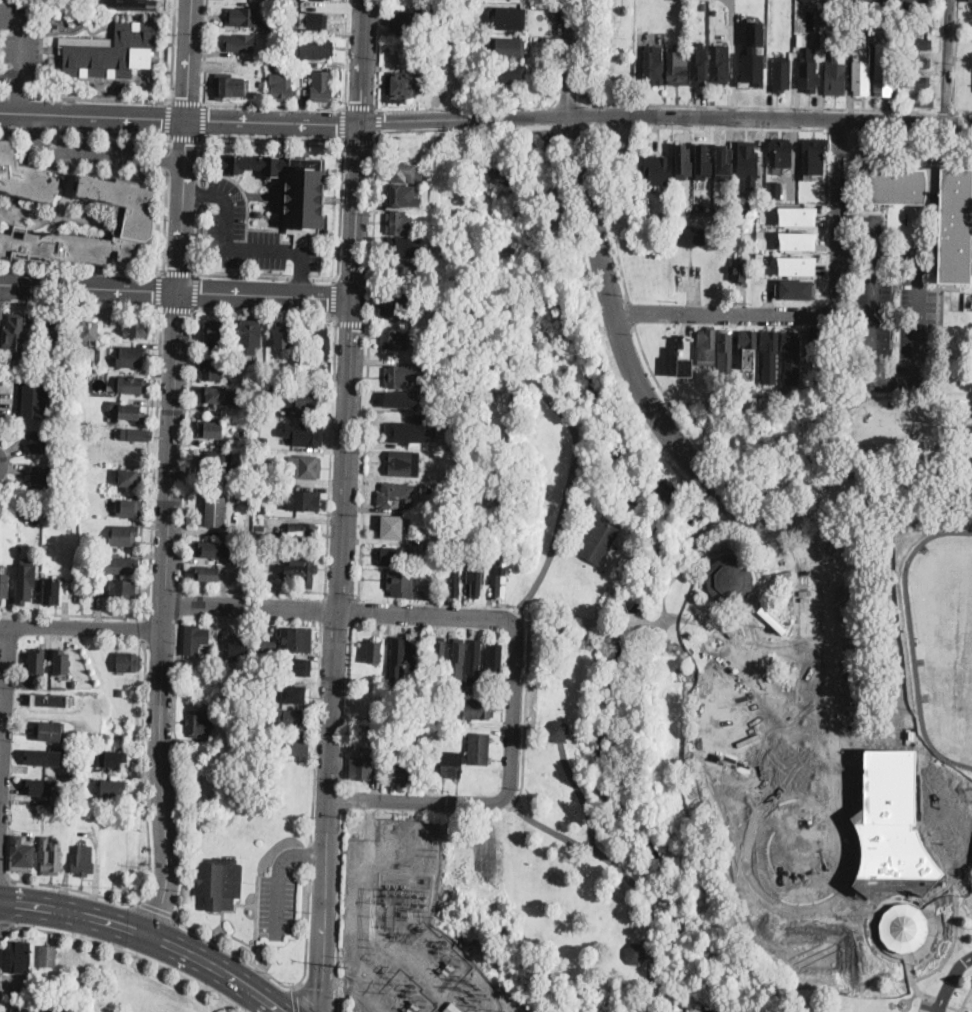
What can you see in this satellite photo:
building: (969, 0)
building: (807, 1)
parking lot: (892, 2)
building: (148, 4)
building: (704, 6)
building: (714, 11)
building: (51, 14)
building: (243, 15)
building: (511, 18)
building: (839, 18)
building: (315, 19)
building: (404, 21)
building: (876, 21)
building: (55, 26)
building: (917, 26)
road: (22, 34)
building: (239, 41)
parking lot: (18, 42)
building: (917, 44)
road: (588, 47)
building: (511, 48)
road: (554, 48)
building: (316, 49)
park: (608, 49)
building: (111, 50)
road: (172, 51)
road: (347, 53)
road: (378, 53)
building: (752, 56)
road: (940, 56)
road: (955, 56)
road: (566, 58)
road: (191, 60)
building: (286, 61)
road: (364, 61)
building: (916, 62)
road: (950, 62)
building: (654, 65)
building: (721, 65)
building: (699, 66)
building: (677, 67)
building: (861, 69)
building: (883, 71)
road: (10, 72)
building: (509, 73)
building: (782, 75)
building: (808, 75)
building: (835, 76)
road: (20, 79)
building: (915, 82)
building: (281, 85)
building: (322, 85)
building: (229, 86)
building: (402, 86)
road: (4, 95)
road: (585, 95)
road: (19, 96)
road: (567, 97)
road: (18, 99)
road: (100, 99)
road: (592, 101)
building: (924, 101)
road: (185, 102)
road: (221, 103)
road: (537, 104)
road: (447, 106)
road: (362, 107)
road: (762, 107)
road: (515, 111)
road: (944, 113)
road: (963, 114)
road: (94, 117)
road: (542, 117)
road: (593, 117)
road: (169, 118)
road: (202, 119)
road: (379, 119)
road: (438, 119)
road: (770, 120)
road: (275, 121)
road: (344, 122)
road: (516, 122)
road: (536, 126)
road: (574, 126)
road: (711, 127)
road: (451, 128)
road: (841, 130)
road: (83, 131)
road: (912, 131)
road: (185, 134)
road: (273, 137)
road: (360, 139)
road: (168, 142)
road: (595, 147)
parking lot: (97, 151)
building: (781, 153)
road: (95, 154)
building: (814, 156)
road: (167, 159)
road: (201, 159)
building: (683, 161)
building: (723, 161)
building: (702, 162)
building: (747, 162)
road: (555, 170)
road: (582, 170)
building: (656, 170)
building: (403, 172)
road: (546, 174)
building: (24, 178)
building: (290, 187)
road: (853, 191)
road: (198, 192)
road: (199, 193)
building: (776, 193)
building: (403, 196)
building: (676, 200)
road: (185, 205)
building: (699, 206)
building: (762, 206)
road: (358, 209)
building: (668, 209)
building: (748, 210)
building: (258, 213)
building: (797, 215)
building: (137, 216)
park: (637, 218)
road: (839, 218)
road: (339, 221)
building: (399, 223)
building: (761, 233)
parking lot: (251, 235)
road: (614, 235)
building: (691, 236)
road: (198, 238)
building: (797, 240)
building: (403, 246)
building: (955, 246)
road: (239, 249)
road: (887, 250)
road: (542, 255)
building: (759, 257)
road: (858, 259)
building: (797, 264)
building: (740, 268)
road: (133, 270)
building: (399, 270)
road: (179, 272)
road: (241, 274)
road: (300, 276)
road: (302, 282)
road: (91, 287)
road: (158, 288)
building: (795, 288)
road: (196, 291)
road: (268, 294)
road: (334, 296)
road: (2, 301)
road: (83, 303)
building: (398, 306)
road: (177, 308)
road: (263, 312)
road: (727, 315)
road: (634, 316)
parking lot: (893, 316)
road: (352, 322)
building: (136, 326)
building: (215, 329)
building: (90, 333)
building: (283, 334)
building: (52, 335)
building: (14, 336)
building: (248, 338)
building: (394, 340)
building: (748, 340)
building: (815, 341)
building: (321, 342)
building: (225, 348)
building: (706, 348)
building: (420, 351)
building: (726, 351)
building: (769, 354)
building: (790, 354)
building: (131, 356)
building: (685, 358)
road: (367, 360)
building: (436, 362)
building: (212, 368)
road: (614, 370)
building: (316, 375)
building: (400, 377)
road: (900, 377)
building: (130, 383)
building: (219, 394)
building: (404, 397)
building: (498, 398)
building: (34, 399)
building: (309, 399)
building: (709, 405)
building: (446, 409)
building: (128, 410)
building: (211, 429)
building: (305, 434)
building: (137, 435)
building: (405, 435)
park: (742, 436)
road: (673, 439)
road: (576, 441)
building: (39, 443)
road: (187, 449)
road: (330, 454)
building: (262, 457)
road: (154, 462)
building: (214, 462)
building: (404, 464)
building: (305, 467)
building: (246, 476)
building: (130, 477)
building: (42, 478)
building: (458, 487)
building: (447, 489)
building: (73, 493)
building: (666, 493)
building: (398, 496)
building: (304, 500)
road: (893, 501)
road: (762, 503)
building: (129, 507)
building: (216, 509)
building: (262, 509)
building: (24, 515)
building: (260, 521)
building: (394, 527)
road: (802, 530)
building: (123, 534)
building: (296, 534)
building: (602, 539)
building: (207, 548)
building: (246, 550)
building: (499, 551)
building: (272, 554)
building: (394, 555)
building: (121, 564)
building: (432, 564)
building: (300, 571)
building: (206, 572)
building: (435, 576)
building: (500, 578)
building: (729, 580)
building: (454, 581)
building: (25, 582)
building: (404, 582)
building: (476, 582)
building: (4, 586)
building: (121, 587)
building: (52, 591)
road: (182, 604)
road: (322, 608)
road: (341, 610)
road: (354, 610)
road: (72, 613)
road: (168, 614)
building: (772, 620)
road: (648, 623)
road: (84, 628)
road: (143, 628)
building: (196, 639)
road: (819, 639)
track: (943, 639)
building: (297, 640)
building: (266, 644)
building: (257, 646)
building: (375, 650)
building: (238, 651)
building: (399, 652)
road: (337, 654)
building: (255, 656)
building: (417, 656)
building: (440, 656)
building: (458, 657)
building: (474, 659)
building: (493, 659)
building: (37, 661)
building: (61, 662)
building: (129, 663)
building: (295, 666)
building: (210, 671)
building: (246, 671)
road: (175, 676)
building: (72, 683)
building: (120, 692)
building: (295, 693)
road: (526, 695)
building: (51, 699)
park: (716, 701)
road: (346, 704)
building: (366, 704)
building: (479, 709)
road: (514, 710)
building: (221, 717)
building: (292, 718)
building: (199, 724)
road: (5, 728)
road: (315, 731)
building: (558, 731)
building: (50, 732)
building: (365, 737)
building: (295, 747)
building: (478, 749)
building: (39, 757)
building: (111, 757)
building: (388, 757)
building: (81, 761)
building: (451, 764)
building: (362, 767)
building: (407, 771)
building: (113, 786)
building: (39, 787)
road: (582, 795)
road: (343, 797)
road: (418, 800)
road: (182, 826)
building: (891, 827)
road: (149, 840)
park: (250, 844)
fountain: (796, 850)
road: (309, 851)
building: (22, 854)
building: (50, 856)
building: (83, 861)
road: (4, 875)
road: (625, 875)
road: (279, 876)
building: (221, 883)
road: (766, 892)
road: (859, 900)
parking lot: (277, 906)
road: (156, 908)
road: (338, 910)
road: (874, 914)
road: (256, 919)
road: (5, 924)
road: (307, 926)
building: (903, 926)
power substation: (407, 929)
road: (148, 935)
road: (236, 936)
road: (931, 936)
road: (955, 943)
road: (126, 950)
road: (234, 951)
building: (634, 954)
building: (21, 957)
building: (48, 957)
road: (77, 965)
road: (951, 981)
road: (914, 982)
building: (18, 994)
road: (294, 999)
road: (307, 999)
road: (966, 1000)
road: (941, 1003)
parking lot: (930, 1006)
building: (453, 1008)
road: (956, 1008)
building: (30, 1009)
building: (75, 1010)

